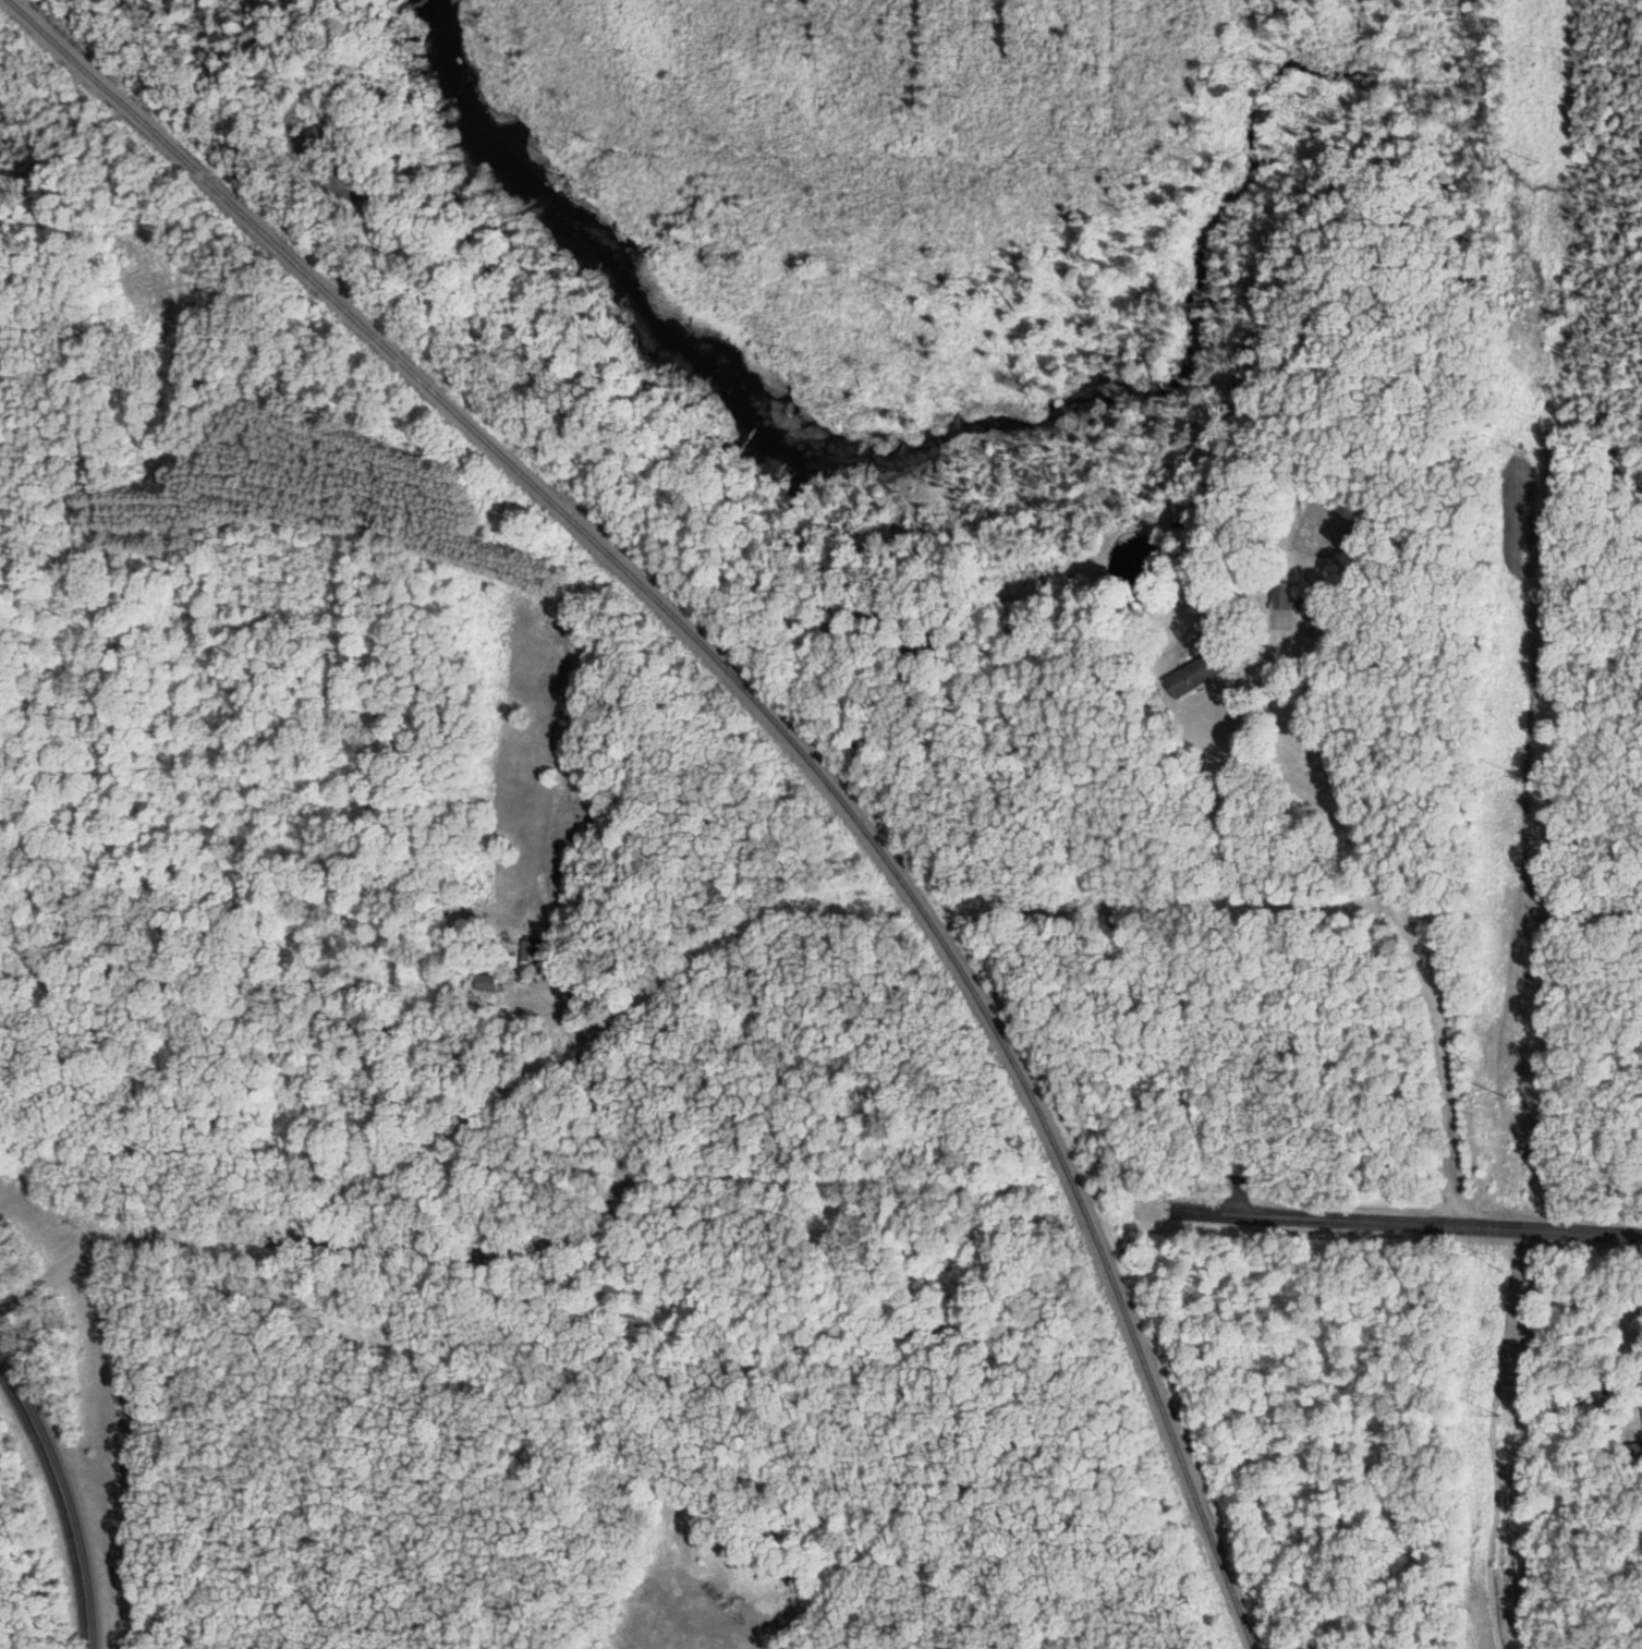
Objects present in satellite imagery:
building: (1276, 591)
building: (864, 617)
building: (1310, 642)
building: (1193, 666)
railway: (776, 720)
road: (1065, 827)
road: (1350, 834)
building: (527, 949)
building: (477, 966)
building: (482, 980)
road: (1426, 1224)
road: (421, 1248)
road: (63, 1500)

